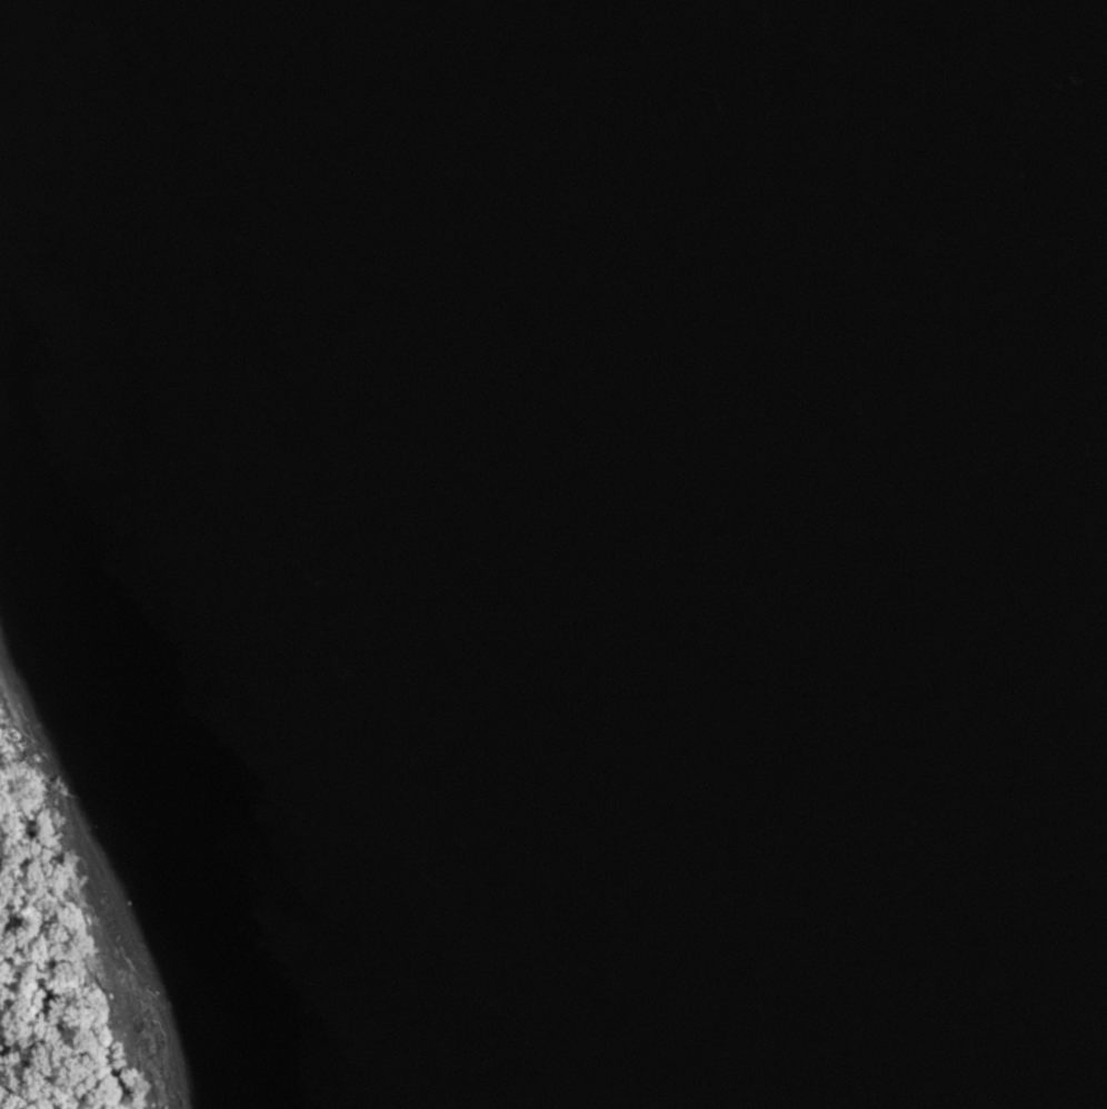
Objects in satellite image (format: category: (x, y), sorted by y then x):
river: (780, 554)

